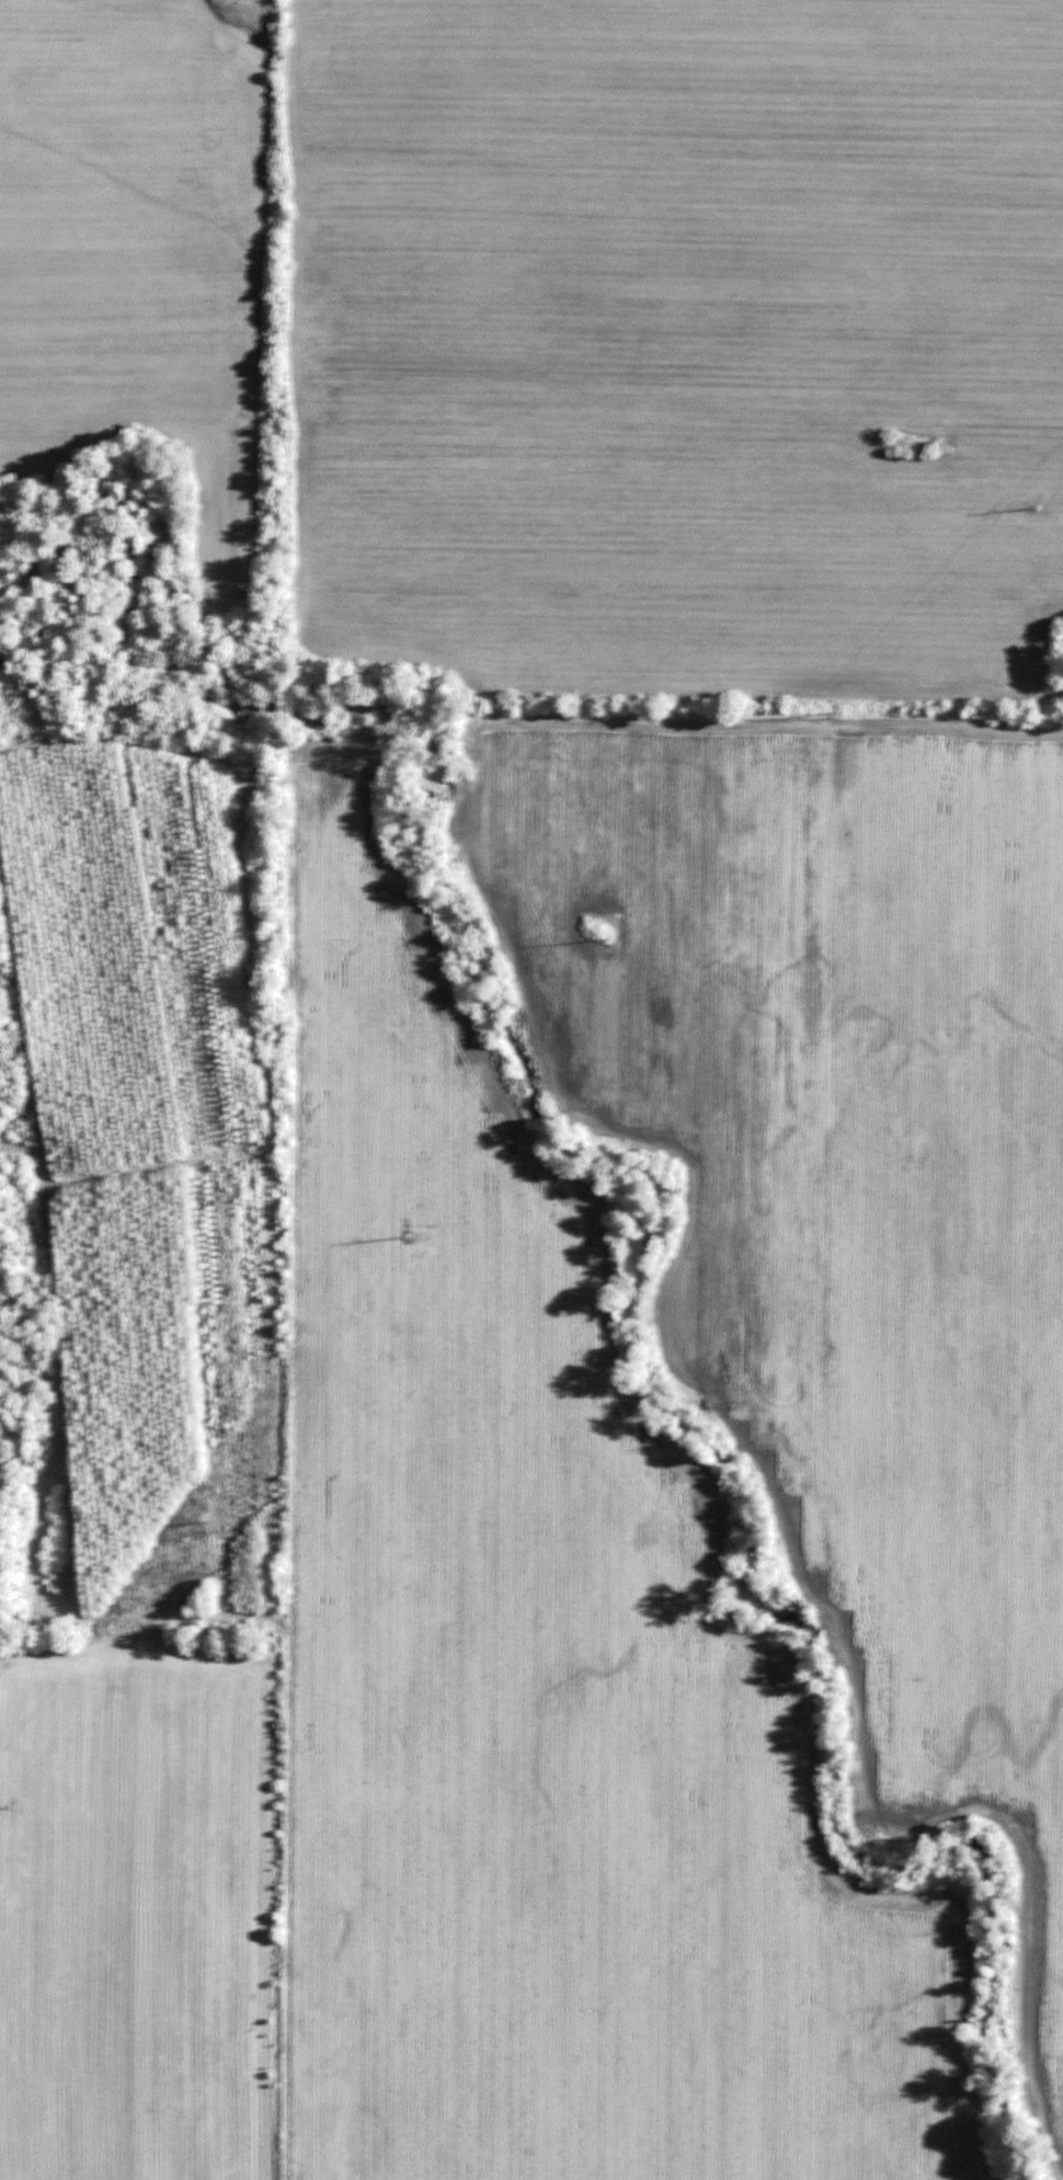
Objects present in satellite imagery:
power tower: (1035, 509)
power tower: (835, 707)
power tower: (607, 924)
power tower: (405, 1228)
power tower: (206, 1517)
power tower: (5, 1803)

